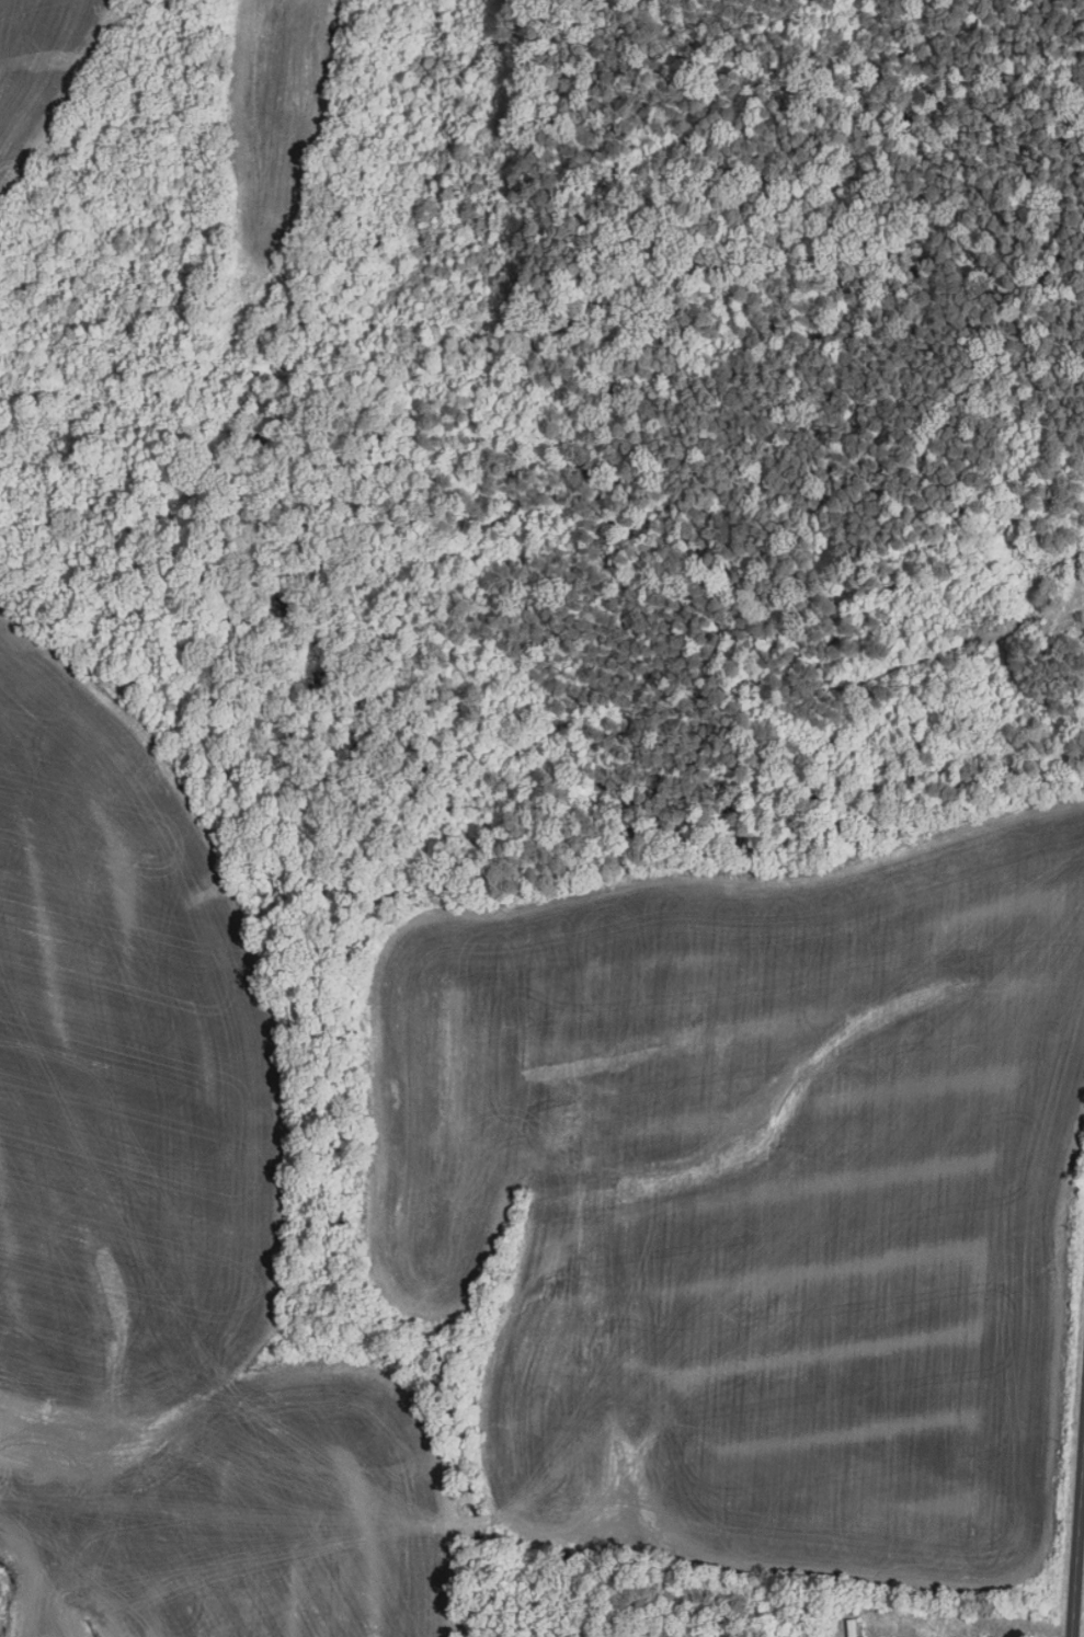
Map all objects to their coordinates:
road: (1077, 1544)
building: (852, 1628)

